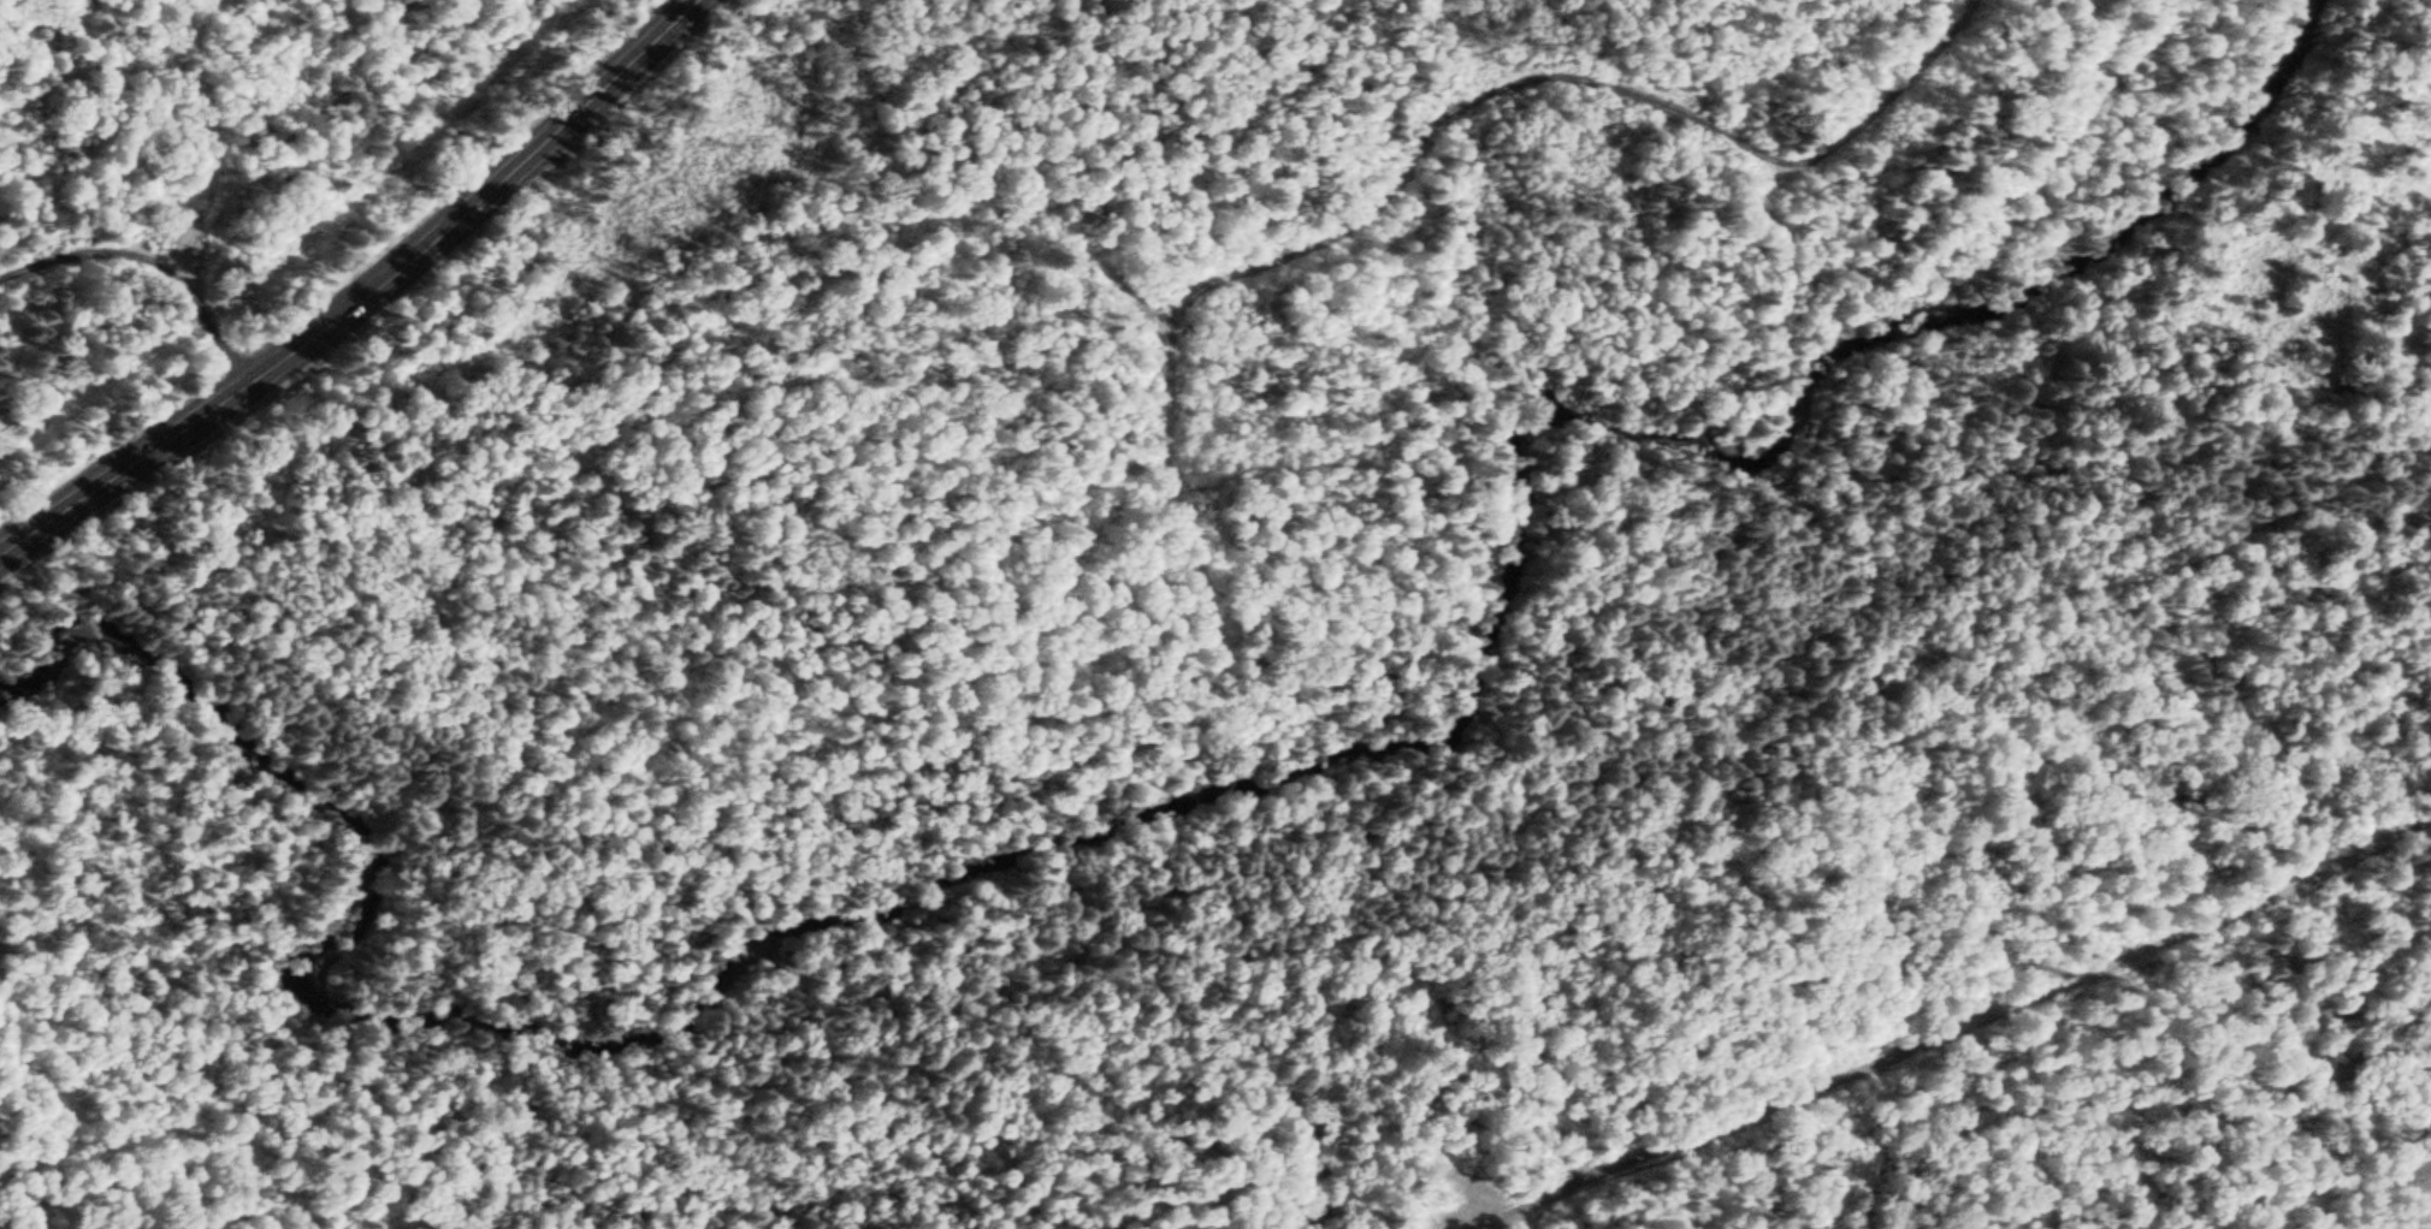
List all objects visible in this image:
road: (150, 265)
road: (361, 298)
river: (1755, 462)
river: (308, 765)
river: (869, 946)
road: (1971, 1026)

